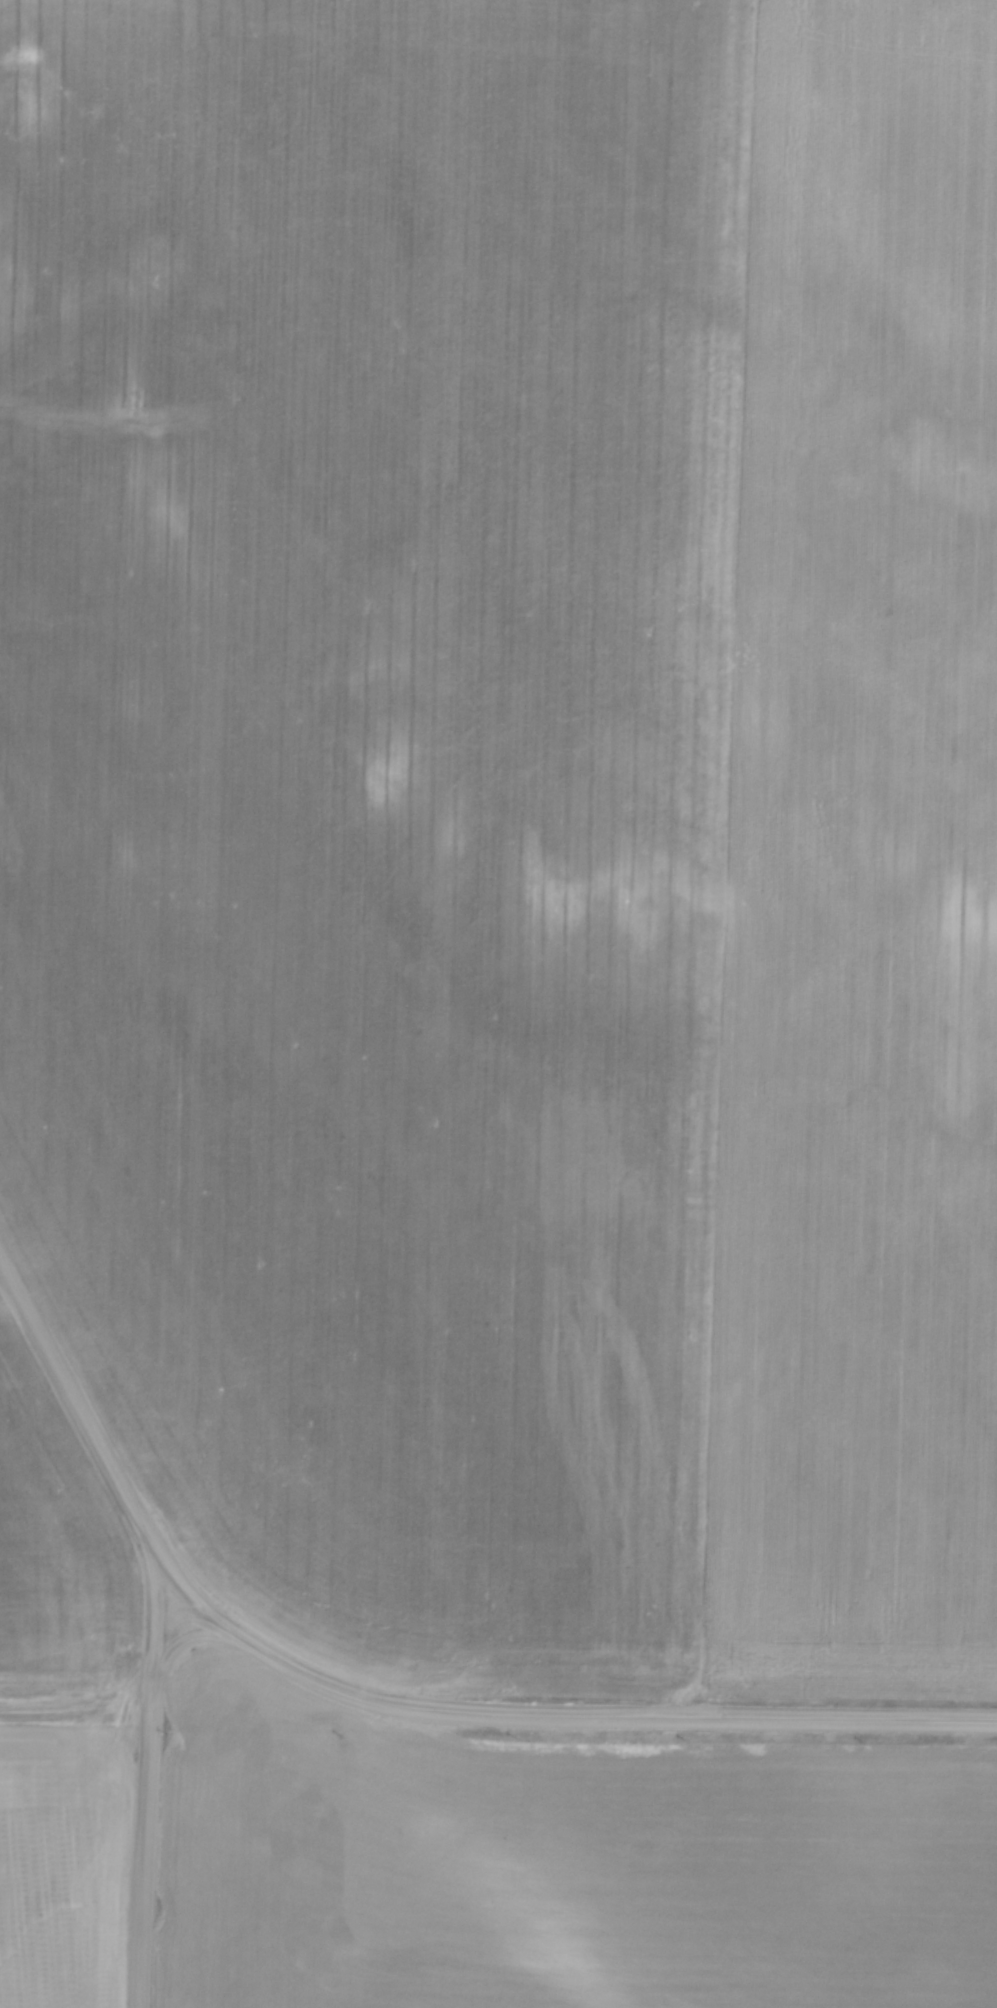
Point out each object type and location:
crop: (515, 816)
road: (108, 1463)
road: (563, 1713)
crop: (61, 1714)
road: (151, 1775)
crop: (564, 1865)

